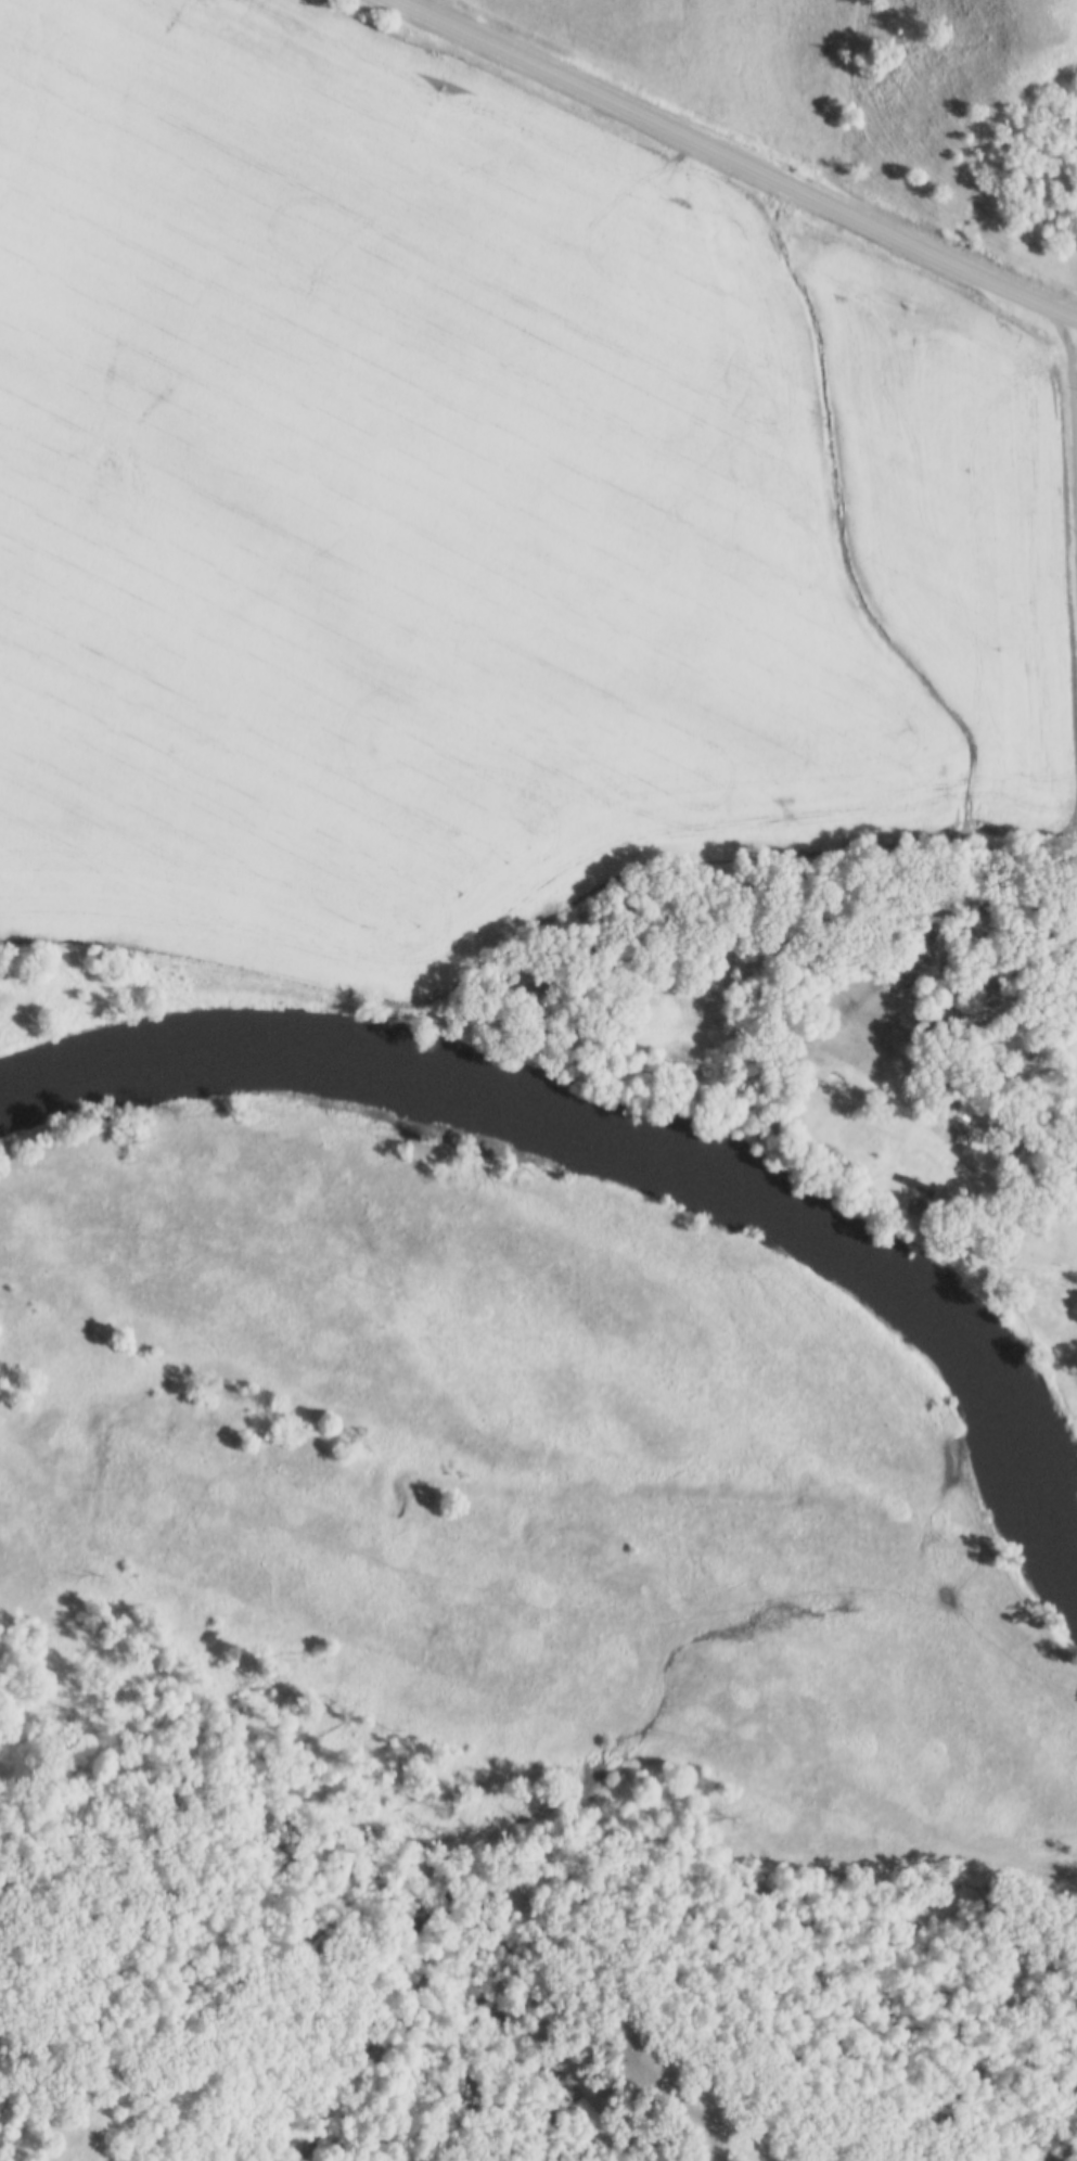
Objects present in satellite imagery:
road: (736, 161)
building: (964, 1124)
river: (637, 1142)
building: (918, 1162)

